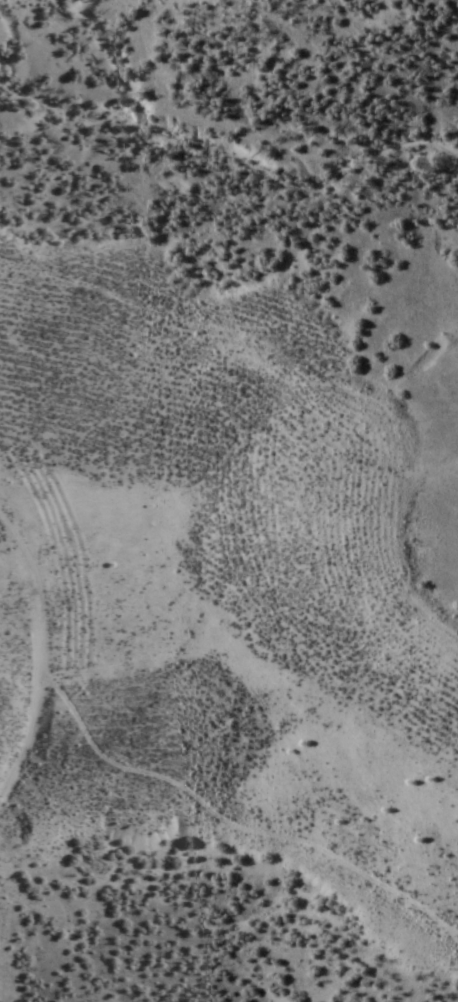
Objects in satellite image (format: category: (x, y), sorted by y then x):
road: (178, 777)

